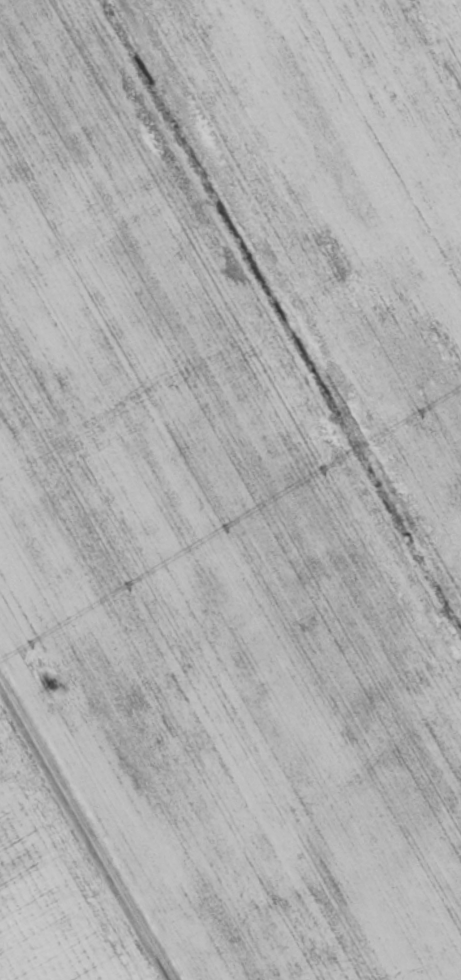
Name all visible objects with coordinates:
road: (86, 830)

